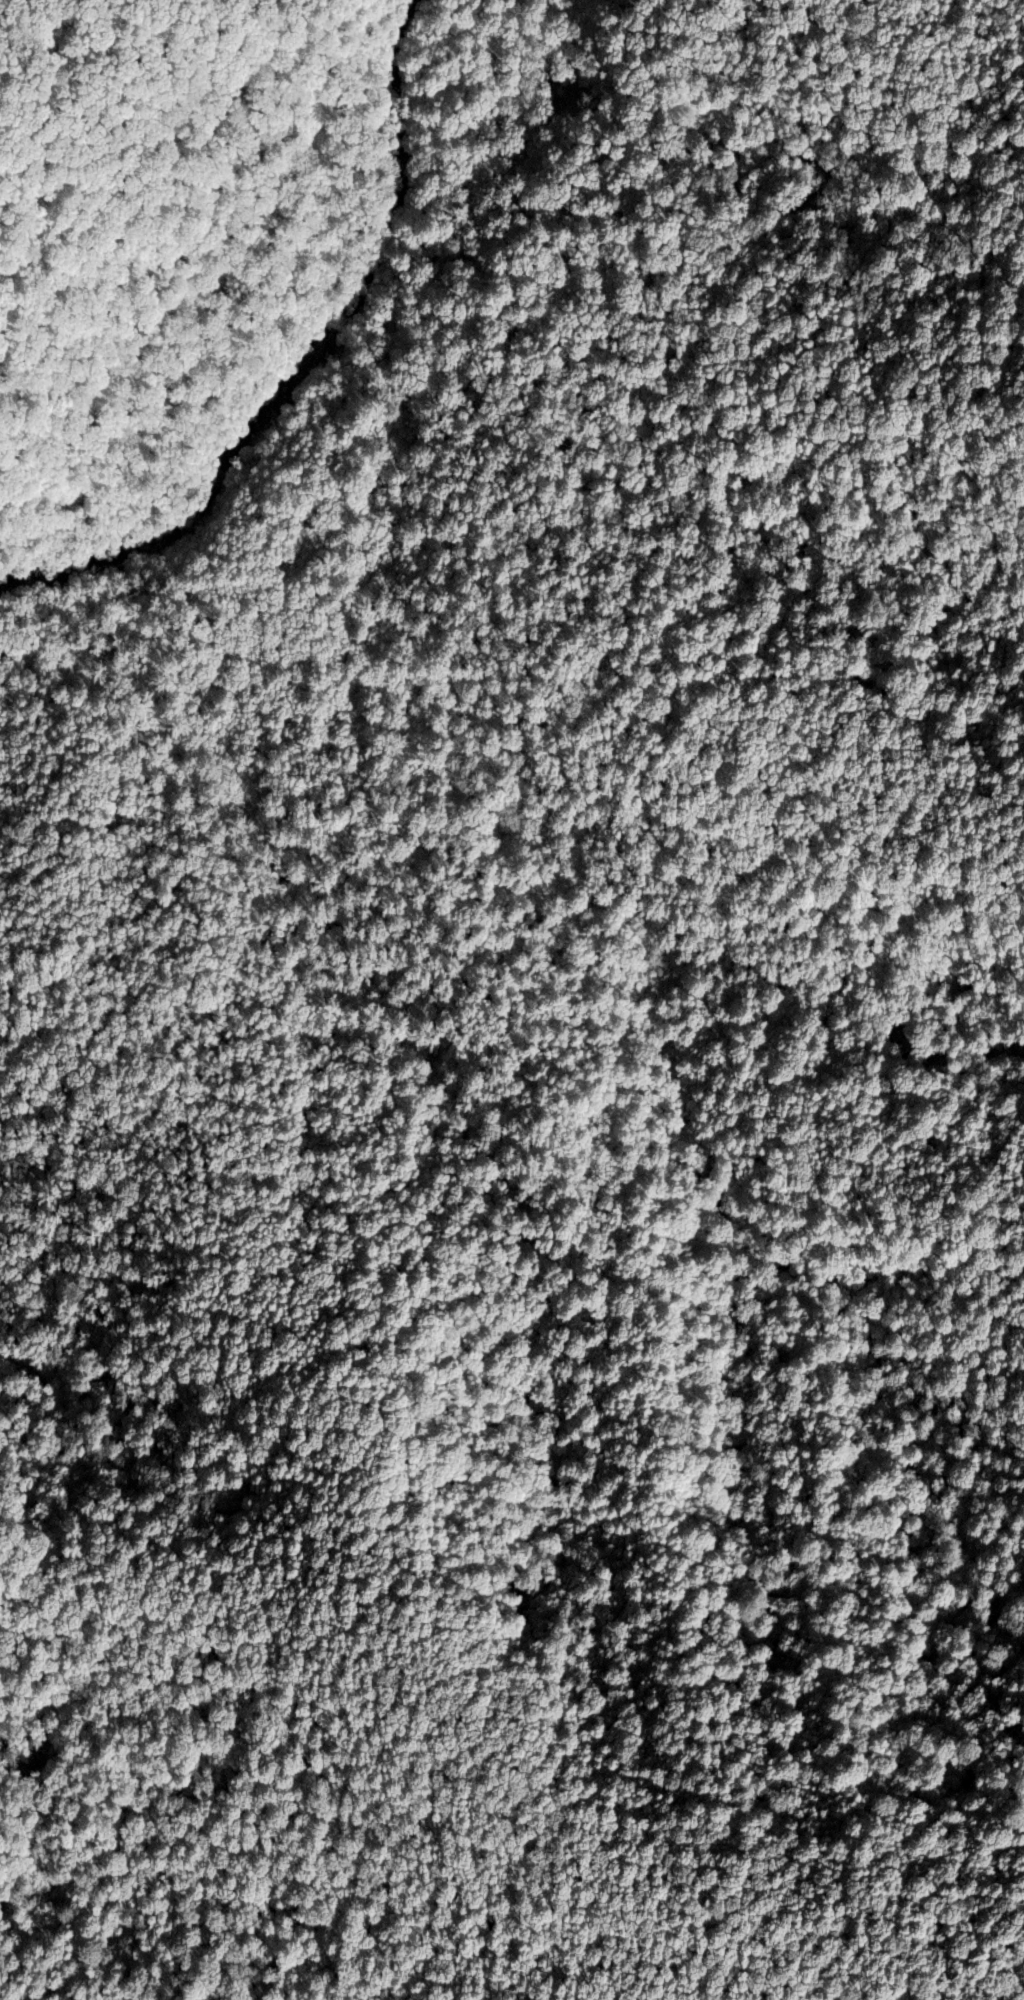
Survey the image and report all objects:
river: (301, 359)
road: (398, 435)

